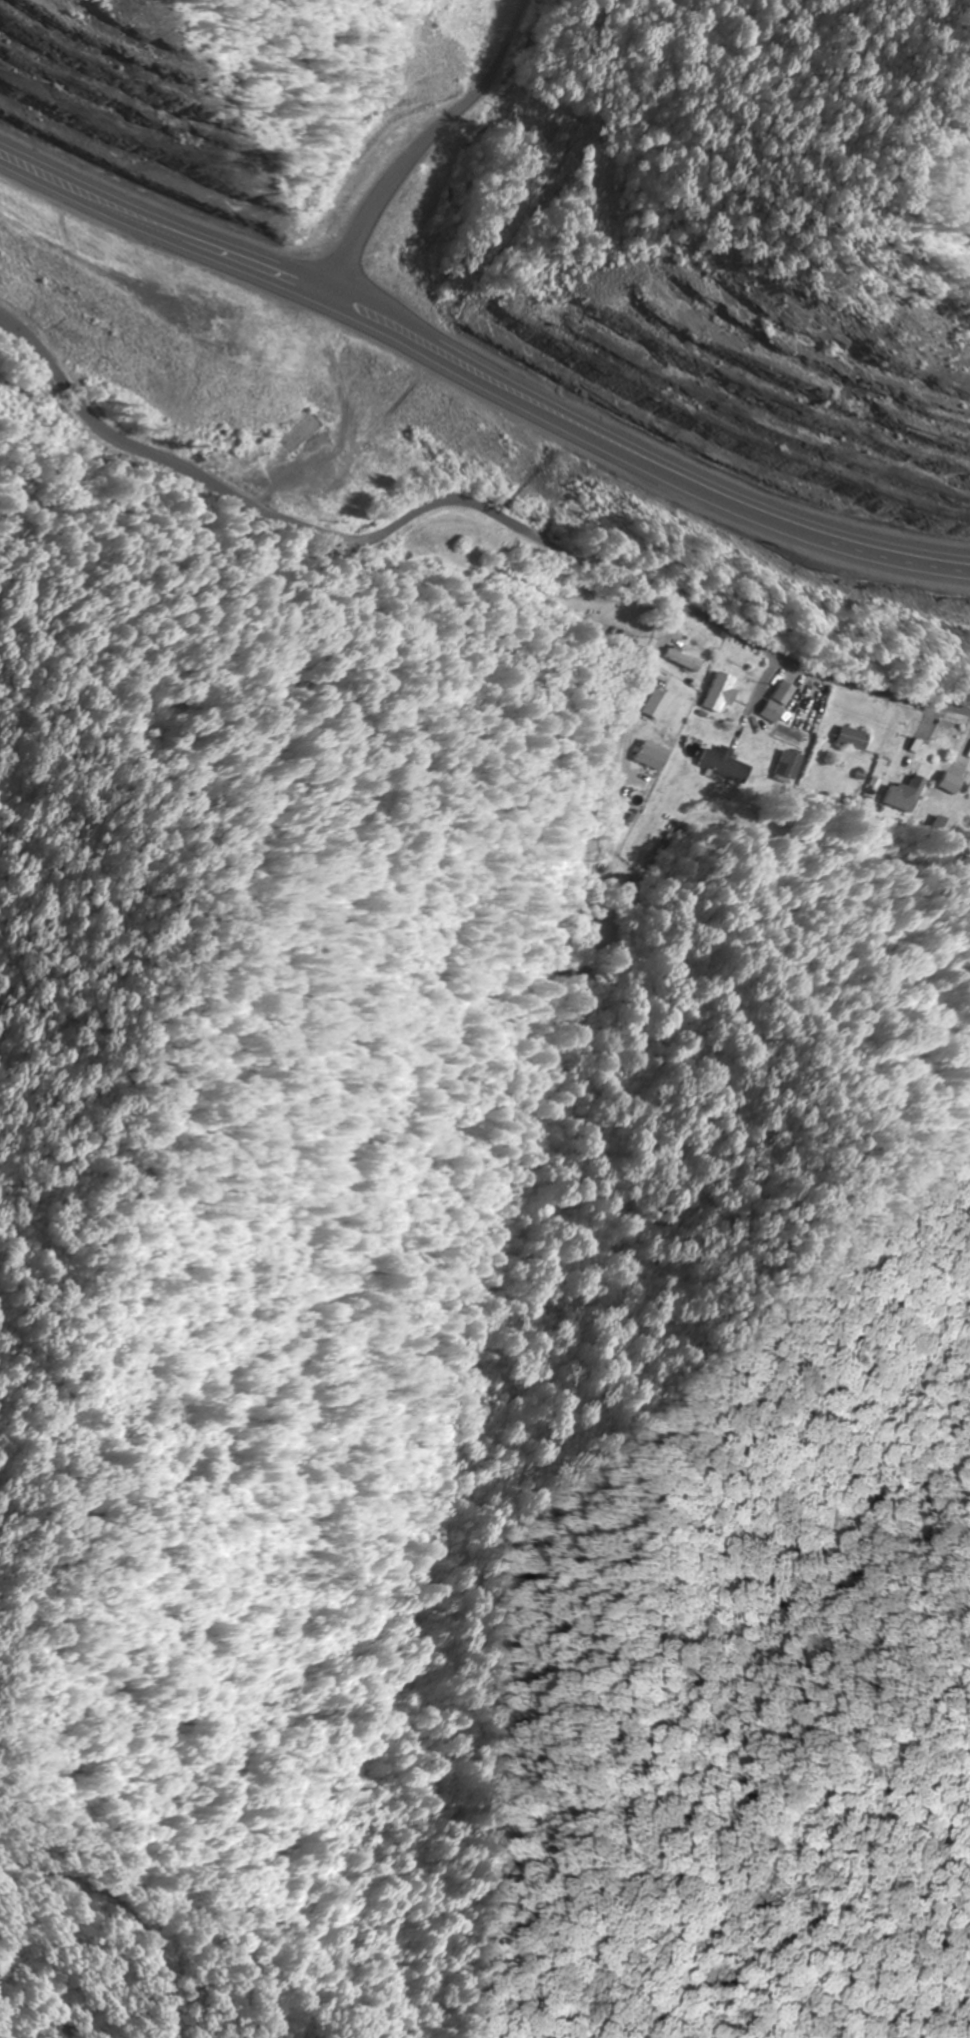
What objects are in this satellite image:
building: (369, 353)
road: (478, 368)
building: (454, 432)
building: (302, 433)
building: (511, 473)
road: (464, 491)
building: (707, 659)
building: (655, 704)
building: (773, 712)
building: (808, 717)
building: (853, 739)
building: (652, 757)
building: (726, 764)
building: (790, 768)
building: (952, 783)
building: (903, 797)

